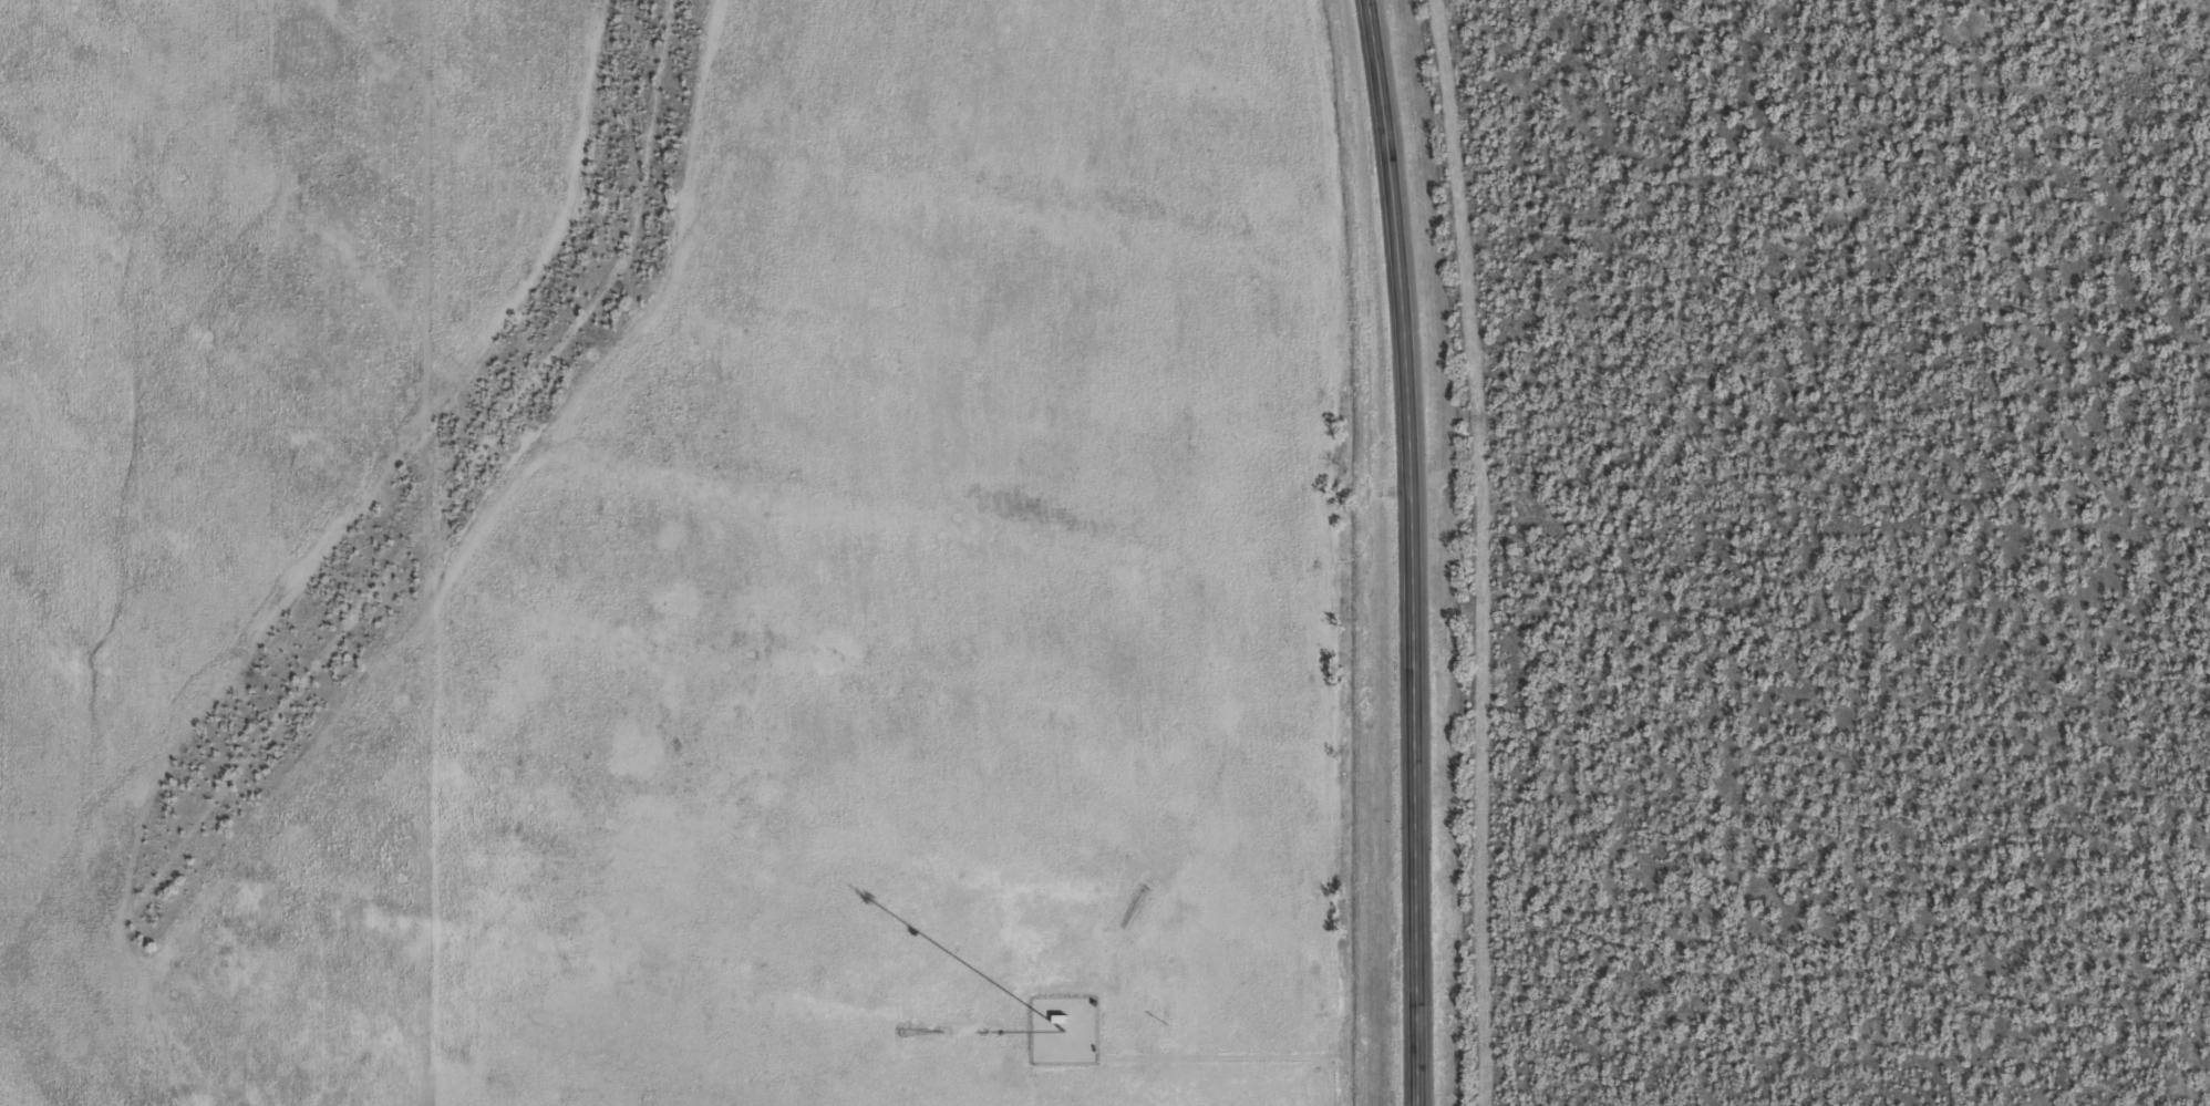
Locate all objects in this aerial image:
road: (1417, 551)
power substation: (1067, 1031)
road: (1242, 1055)

